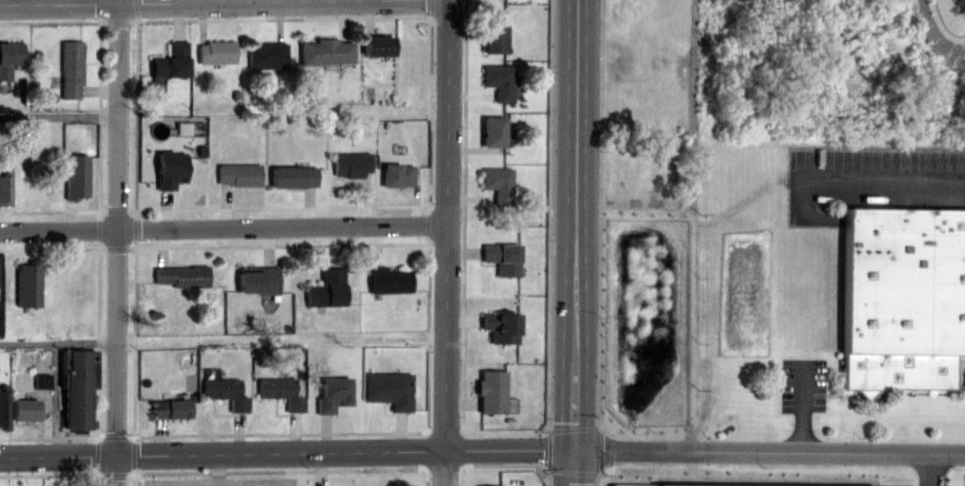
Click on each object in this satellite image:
road: (158, 2)
building: (493, 37)
building: (377, 45)
building: (325, 51)
building: (215, 52)
building: (266, 55)
building: (9, 57)
building: (171, 61)
building: (70, 69)
building: (498, 81)
road: (59, 116)
building: (492, 131)
building: (350, 164)
building: (169, 169)
building: (237, 174)
building: (396, 174)
building: (75, 176)
building: (293, 176)
road: (876, 177)
building: (497, 183)
building: (4, 188)
road: (575, 225)
road: (689, 225)
road: (223, 228)
road: (116, 243)
road: (446, 243)
building: (501, 257)
building: (182, 275)
building: (257, 279)
building: (387, 279)
building: (27, 285)
building: (326, 288)
building: (901, 297)
building: (0, 326)
building: (499, 326)
road: (222, 340)
building: (41, 380)
building: (75, 389)
building: (388, 389)
building: (280, 391)
building: (490, 391)
building: (225, 392)
building: (332, 393)
road: (801, 405)
building: (3, 407)
building: (170, 408)
building: (25, 409)
traffic signals: (573, 450)
road: (768, 451)
road: (286, 453)
road: (572, 468)
road: (931, 469)
building: (480, 485)
building: (714, 485)

